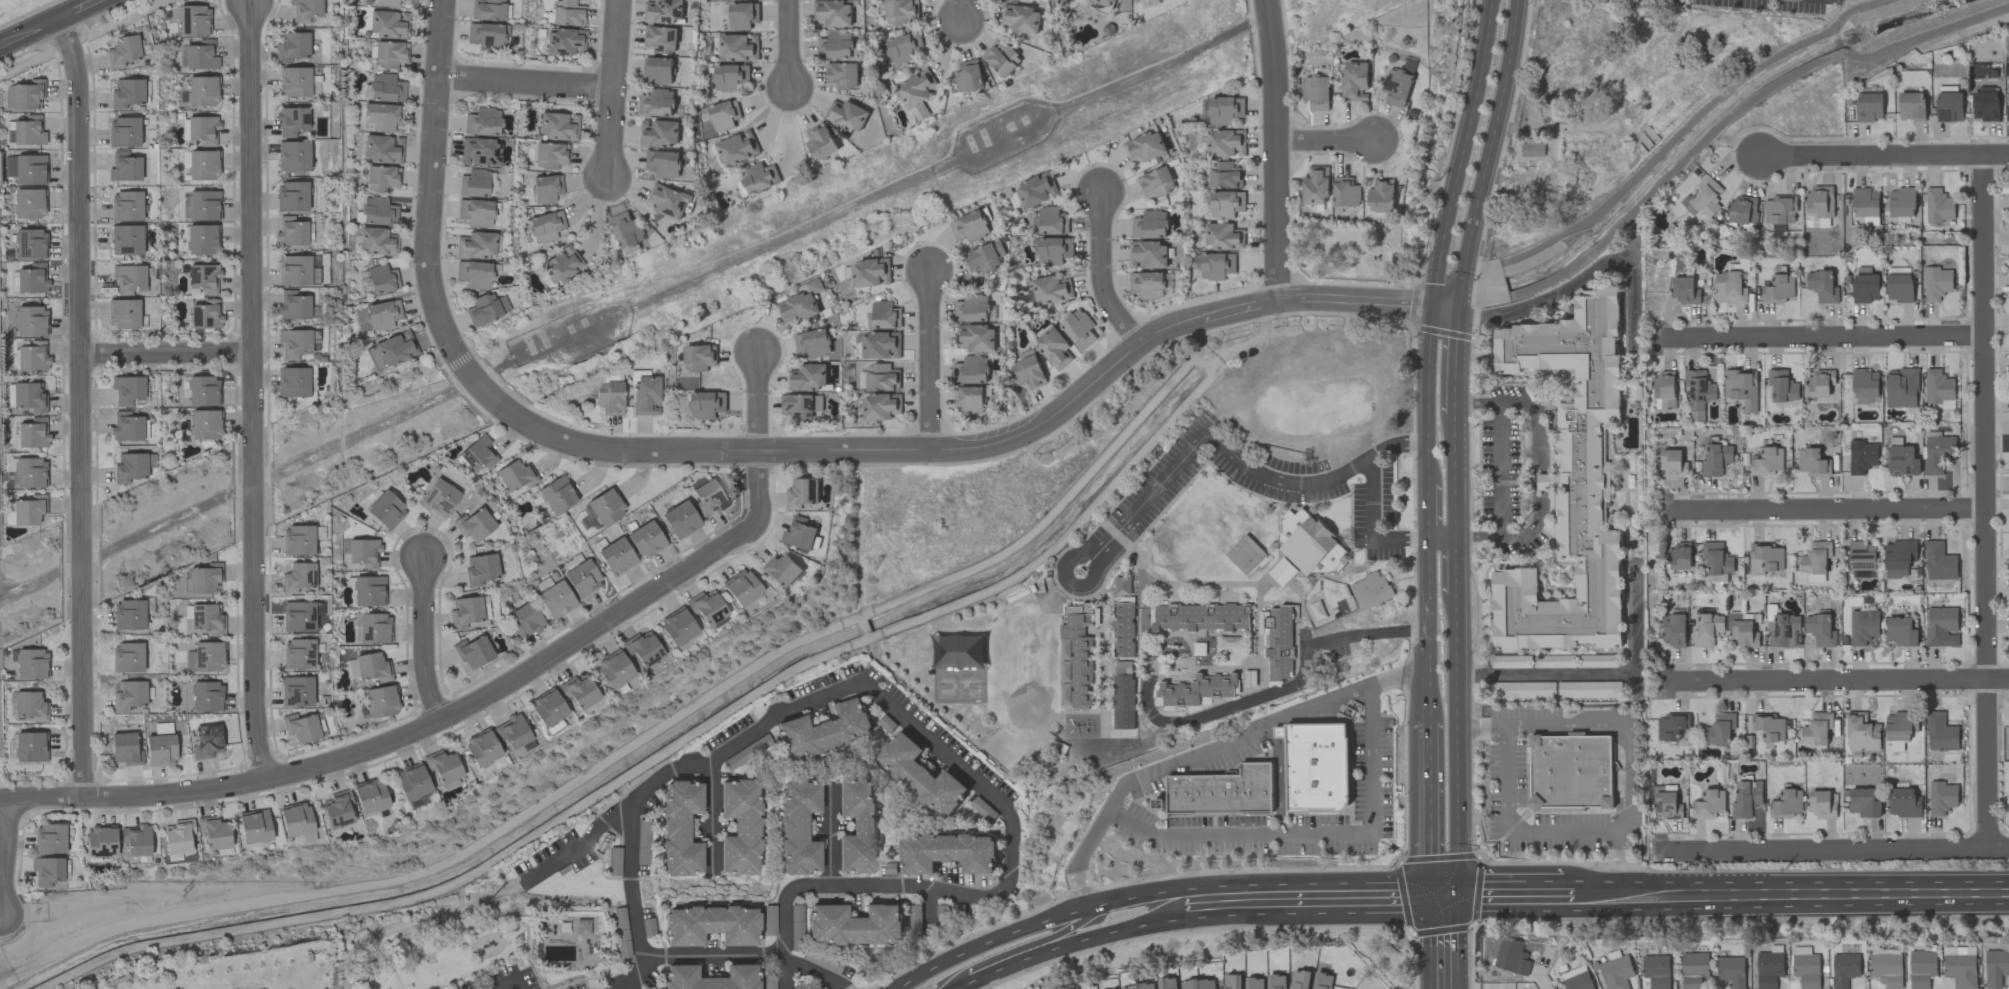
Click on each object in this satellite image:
rooftop solar panel: (671, 1)
building: (1104, 2)
building: (387, 3)
rooftop solar panel: (665, 3)
building: (1148, 3)
road: (80, 9)
building: (305, 10)
building: (487, 10)
building: (664, 11)
building: (901, 11)
road: (959, 11)
building: (833, 12)
building: (567, 13)
rooftop solar panel: (680, 13)
building: (742, 15)
rooftop solar panel: (669, 18)
building: (1021, 18)
building: (195, 21)
building: (388, 25)
road: (1513, 26)
road: (31, 31)
rooftop solar panel: (674, 32)
building: (486, 37)
building: (661, 38)
building: (565, 42)
road: (787, 43)
building: (835, 45)
building: (292, 47)
building: (738, 47)
rooftop solar panel: (662, 48)
building: (904, 48)
building: (122, 51)
building: (390, 54)
building: (201, 56)
building: (1002, 58)
building: (658, 69)
building: (1982, 71)
building: (842, 75)
building: (968, 75)
building: (730, 76)
building: (1354, 81)
building: (294, 82)
road: (524, 84)
building: (1396, 86)
building: (384, 89)
road: (610, 90)
building: (203, 91)
building: (1315, 92)
building: (916, 93)
building: (127, 94)
building: (24, 95)
building: (657, 102)
building: (1985, 104)
building: (1869, 106)
building: (1911, 106)
building: (1949, 106)
building: (1225, 109)
building: (2007, 112)
rooftop solar panel: (1945, 113)
building: (721, 114)
rooftop solar panel: (292, 115)
building: (847, 115)
building: (383, 117)
rooftop solar panel: (306, 118)
building: (291, 122)
building: (481, 122)
building: (558, 126)
building: (203, 130)
building: (28, 131)
building: (123, 133)
building: (659, 133)
road: (1325, 140)
building: (820, 141)
building: (1225, 142)
building: (1145, 146)
building: (736, 147)
building: (1531, 148)
building: (382, 150)
road: (1276, 150)
rooftop solar panel: (477, 152)
building: (479, 152)
rooftop solar panel: (494, 152)
road: (1461, 152)
road: (1880, 155)
building: (293, 156)
building: (550, 156)
rooftop solar panel: (480, 159)
rooftop solar panel: (489, 160)
building: (663, 163)
building: (203, 165)
building: (124, 167)
building: (26, 169)
building: (1225, 174)
building: (758, 177)
building: (382, 179)
road: (1482, 179)
building: (1156, 183)
building: (473, 184)
building: (1315, 186)
building: (546, 189)
building: (1035, 189)
building: (1345, 191)
building: (1381, 196)
building: (291, 197)
building: (1704, 198)
building: (669, 200)
building: (1818, 201)
building: (1865, 202)
building: (1901, 202)
building: (29, 203)
building: (1225, 203)
building: (204, 205)
building: (126, 206)
building: (1938, 206)
building: (1742, 209)
building: (1779, 209)
building: (378, 212)
building: (475, 213)
building: (1049, 221)
building: (1149, 225)
building: (546, 226)
building: (969, 226)
building: (290, 232)
building: (627, 232)
building: (1223, 236)
building: (202, 239)
building: (126, 240)
building: (377, 242)
building: (31, 244)
building: (476, 245)
park: (1347, 247)
rooftop solar panel: (24, 250)
building: (1052, 250)
building: (1147, 254)
building: (984, 257)
building: (560, 265)
building: (1216, 265)
rooftop solar panel: (206, 270)
building: (296, 271)
building: (870, 272)
rooftop solar panel: (196, 274)
building: (474, 275)
road: (1100, 275)
road: (1581, 278)
building: (32, 279)
building: (128, 279)
building: (203, 279)
building: (382, 280)
building: (1936, 283)
building: (1147, 284)
building: (1822, 286)
building: (1729, 287)
building: (1865, 287)
building: (1899, 287)
building: (1051, 289)
building: (1778, 289)
building: (1684, 290)
traffic signals: (1431, 305)
building: (293, 306)
building: (798, 307)
traffic signals: (1457, 307)
building: (972, 308)
building: (486, 309)
building: (123, 314)
building: (206, 315)
building: (885, 315)
building: (377, 316)
building: (31, 322)
building: (1078, 328)
building: (977, 337)
road: (1818, 338)
building: (294, 343)
building: (812, 343)
building: (880, 344)
road: (1455, 344)
building: (1053, 347)
building: (395, 348)
road: (165, 354)
building: (32, 356)
building: (698, 357)
building: (374, 358)
road: (928, 361)
building: (971, 370)
building: (1029, 371)
building: (808, 377)
building: (882, 377)
road: (1427, 380)
building: (1820, 382)
building: (292, 383)
building: (1782, 385)
building: (1865, 385)
building: (1937, 386)
building: (1741, 387)
building: (1901, 387)
building: (1698, 388)
building: (127, 390)
building: (1663, 390)
building: (203, 391)
road: (252, 391)
building: (645, 396)
building: (27, 397)
building: (610, 398)
road: (753, 398)
building: (969, 398)
rooftop solar panel: (811, 402)
building: (707, 404)
building: (800, 404)
rooftop solar panel: (792, 405)
building: (881, 406)
road: (79, 408)
rooftop solar panel: (800, 414)
building: (205, 425)
building: (126, 427)
building: (33, 433)
road: (778, 451)
building: (1937, 453)
building: (478, 454)
building: (1861, 456)
rooftop solar panel: (1900, 456)
building: (1901, 457)
rooftop solar panel: (469, 459)
road: (1453, 459)
building: (1716, 459)
building: (1766, 461)
building: (1812, 462)
building: (1673, 463)
building: (131, 467)
road: (1535, 469)
rooftop solar panel: (1910, 469)
road: (1500, 470)
building: (30, 473)
building: (516, 476)
building: (1569, 481)
road: (1313, 484)
rooftop solar panel: (816, 490)
building: (802, 492)
rooftop solar panel: (430, 494)
building: (557, 495)
road: (1150, 495)
rooftop solar panel: (719, 496)
road: (1427, 497)
building: (439, 498)
building: (708, 498)
road: (1982, 500)
rooftop solar panel: (725, 504)
rooftop solar panel: (443, 506)
building: (605, 507)
building: (29, 510)
building: (386, 510)
road: (1826, 511)
building: (680, 520)
building: (474, 525)
road: (1370, 525)
building: (800, 533)
road: (1441, 537)
building: (1303, 538)
building: (298, 540)
building: (645, 540)
rooftop solar panel: (1861, 550)
building: (364, 553)
rooftop solar panel: (1864, 554)
building: (616, 556)
building: (1680, 556)
building: (1815, 557)
building: (1898, 557)
building: (1764, 558)
building: (1862, 559)
building: (1716, 560)
building: (1939, 561)
rooftop solar panel: (1864, 564)
road: (1454, 565)
building: (480, 569)
building: (782, 569)
rooftop solar panel: (307, 576)
building: (205, 578)
building: (298, 578)
rooftop solar panel: (313, 578)
building: (582, 579)
road: (1062, 583)
building: (741, 588)
building: (1371, 590)
building: (369, 591)
building: (556, 600)
building: (706, 607)
road: (1454, 607)
building: (465, 612)
rooftop solar panel: (311, 614)
building: (129, 615)
building: (300, 616)
building: (1199, 616)
rooftop solar panel: (1786, 617)
building: (207, 618)
building: (526, 620)
building: (1863, 626)
building: (1941, 626)
rooftop solar panel: (310, 627)
building: (677, 627)
building: (375, 628)
road: (1428, 629)
building: (1675, 629)
building: (1707, 629)
rooftop solar panel: (1777, 629)
building: (1819, 629)
building: (1123, 630)
building: (1741, 631)
building: (1785, 631)
rooftop solar panel: (1788, 631)
building: (1900, 631)
rooftop solar panel: (1798, 637)
road: (422, 641)
building: (1278, 641)
building: (642, 649)
building: (473, 652)
building: (298, 654)
building: (1075, 655)
building: (204, 657)
building: (127, 658)
building: (1554, 661)
building: (30, 663)
building: (373, 668)
building: (352, 669)
building: (613, 669)
road: (1599, 675)
road: (1841, 681)
building: (1195, 689)
building: (1522, 689)
building: (1588, 689)
building: (579, 691)
building: (296, 692)
building: (129, 695)
building: (207, 696)
rooftop solar panel: (295, 697)
road: (1456, 697)
building: (1123, 700)
building: (382, 701)
rooftop solar panel: (306, 703)
building: (31, 706)
building: (547, 708)
road: (1207, 713)
road: (436, 723)
building: (1900, 725)
building: (1671, 726)
building: (1769, 726)
building: (300, 728)
building: (1816, 728)
building: (824, 729)
road: (1625, 729)
building: (1719, 729)
building: (512, 731)
building: (1279, 732)
building: (1861, 732)
building: (1940, 732)
building: (206, 742)
building: (31, 747)
building: (482, 748)
building: (125, 749)
building: (160, 751)
road: (1208, 751)
road: (1368, 760)
building: (1317, 767)
building: (443, 769)
building: (920, 774)
building: (1571, 774)
road: (1277, 778)
building: (412, 782)
building: (1221, 790)
road: (995, 795)
building: (369, 796)
building: (1941, 797)
building: (1746, 798)
building: (1665, 802)
building: (1864, 802)
building: (1904, 802)
building: (1708, 803)
building: (1785, 804)
building: (1821, 804)
rooftop solar panel: (1671, 805)
rooftop solar panel: (1659, 806)
building: (337, 809)
road: (1428, 809)
rooftop solar panel: (1676, 816)
building: (295, 820)
rooftop solar panel: (340, 822)
building: (856, 826)
building: (254, 827)
building: (739, 827)
building: (797, 827)
building: (680, 828)
road: (1510, 831)
building: (214, 833)
road: (830, 836)
road: (1457, 836)
building: (178, 837)
road: (1233, 837)
building: (50, 839)
building: (136, 840)
building: (101, 842)
road: (1837, 846)
road: (579, 848)
road: (631, 849)
building: (947, 851)
road: (1, 860)
building: (47, 871)
road: (1790, 896)
traffic signals: (1428, 897)
road: (1321, 898)
traffic signals: (1457, 898)
road: (1514, 899)
road: (928, 907)
building: (854, 924)
building: (710, 925)
building: (581, 926)
road: (1037, 926)
road: (1119, 929)
road: (1067, 936)
building: (622, 941)
road: (1430, 942)
road: (1455, 943)
building: (1802, 949)
road: (712, 954)
building: (1509, 955)
building: (821, 961)
road: (1008, 963)
building: (1960, 966)
building: (1996, 967)
building: (1921, 968)
building: (1694, 969)
building: (1769, 969)
building: (1845, 969)
building: (1887, 969)
building: (1657, 970)
building: (1806, 970)
building: (1732, 971)
building: (1616, 972)
building: (711, 977)
road: (507, 979)
building: (1300, 979)
building: (1320, 980)
building: (1231, 981)
building: (1275, 981)
building: (1578, 981)
road: (1546, 982)
building: (1166, 983)
building: (1198, 983)
building: (1253, 983)
road: (959, 985)
building: (1138, 986)
road: (631, 988)

